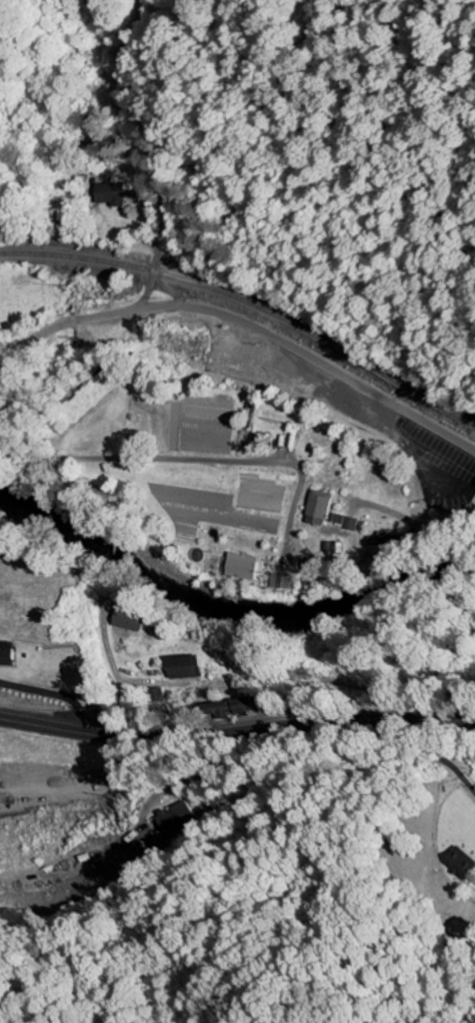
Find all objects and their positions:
road: (152, 157)
building: (110, 195)
railway: (248, 305)
road: (246, 323)
road: (142, 458)
building: (474, 489)
building: (324, 505)
road: (428, 508)
building: (354, 524)
building: (245, 568)
building: (285, 582)
building: (128, 621)
building: (8, 655)
building: (185, 667)
building: (241, 706)
road: (237, 732)
building: (176, 818)
road: (257, 828)
building: (458, 864)

